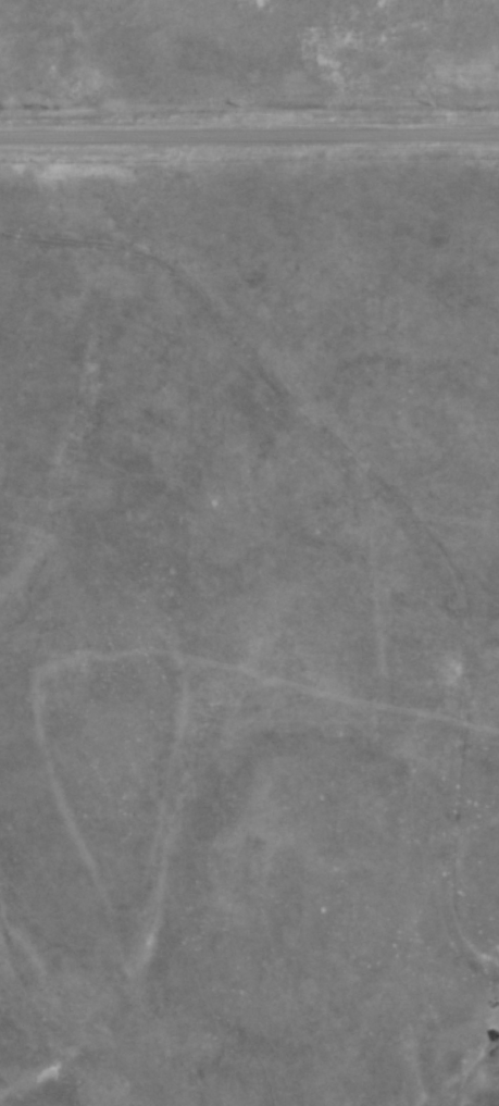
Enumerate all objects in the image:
road: (249, 133)

